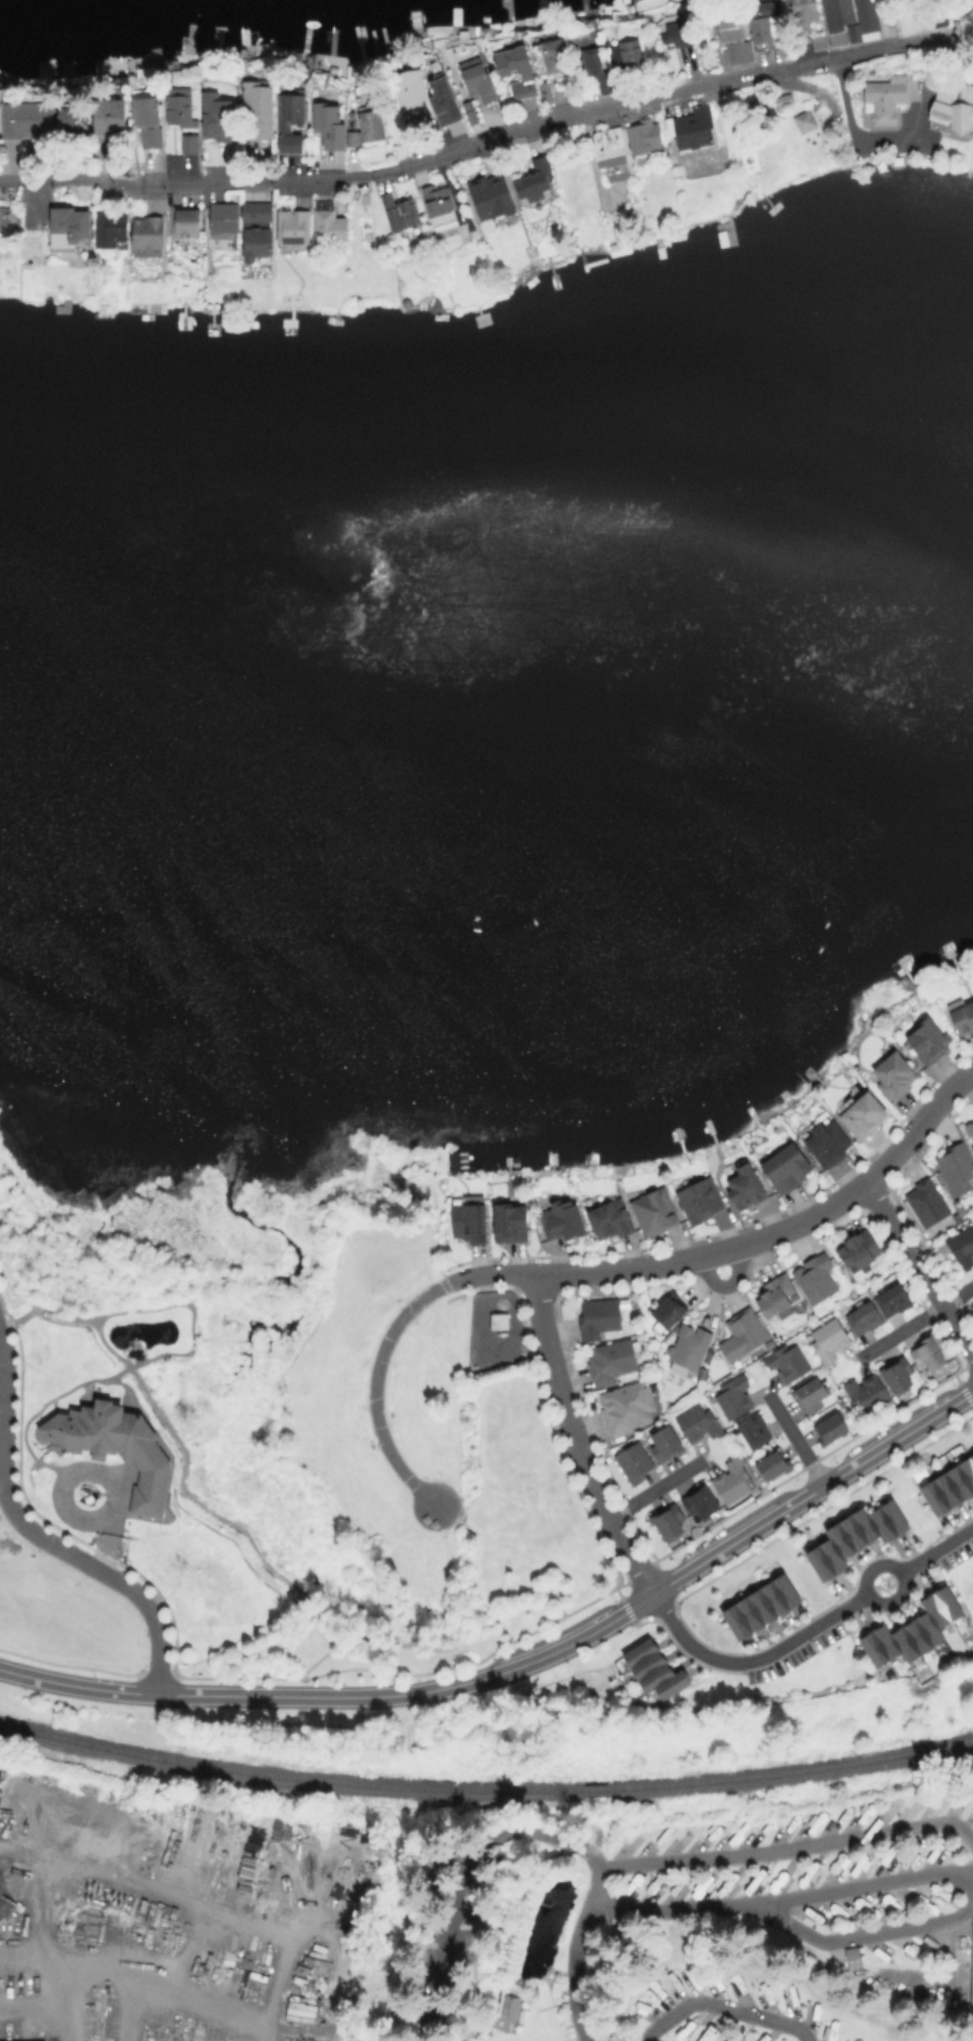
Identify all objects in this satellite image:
building: (803, 14)
building: (837, 14)
building: (869, 16)
building: (760, 21)
building: (676, 33)
building: (730, 33)
building: (853, 34)
building: (631, 53)
building: (553, 56)
building: (597, 71)
building: (512, 73)
building: (475, 83)
building: (178, 90)
building: (408, 90)
building: (546, 94)
building: (886, 94)
building: (198, 101)
building: (441, 102)
building: (180, 111)
building: (256, 111)
building: (216, 117)
building: (952, 117)
building: (805, 120)
road: (841, 122)
building: (149, 123)
building: (28, 124)
building: (288, 124)
building: (109, 125)
building: (74, 126)
building: (326, 126)
building: (371, 126)
building: (693, 128)
building: (644, 137)
building: (353, 138)
road: (488, 138)
building: (188, 143)
building: (614, 165)
building: (534, 183)
building: (488, 197)
building: (437, 202)
building: (256, 212)
building: (399, 214)
building: (4, 217)
building: (224, 218)
building: (186, 221)
building: (70, 226)
building: (331, 227)
building: (294, 228)
building: (111, 232)
building: (147, 234)
building: (257, 246)
building: (963, 1013)
building: (928, 1037)
building: (894, 1071)
building: (863, 1112)
building: (970, 1125)
building: (828, 1140)
building: (786, 1166)
building: (956, 1166)
building: (746, 1184)
building: (700, 1199)
building: (926, 1200)
building: (656, 1210)
building: (609, 1217)
building: (469, 1218)
building: (509, 1218)
building: (561, 1218)
building: (962, 1244)
road: (740, 1245)
building: (858, 1248)
road: (920, 1267)
building: (816, 1276)
building: (778, 1295)
road: (958, 1296)
building: (893, 1298)
building: (972, 1303)
building: (668, 1308)
building: (863, 1315)
building: (599, 1316)
building: (499, 1320)
building: (742, 1331)
road: (902, 1331)
building: (827, 1337)
building: (769, 1343)
building: (690, 1345)
building: (926, 1347)
building: (611, 1360)
building: (59, 1362)
building: (786, 1362)
building: (895, 1370)
building: (702, 1372)
road: (376, 1389)
building: (864, 1390)
building: (808, 1391)
building: (732, 1393)
building: (627, 1405)
building: (696, 1420)
building: (828, 1424)
building: (752, 1425)
road: (577, 1439)
road: (795, 1439)
building: (662, 1440)
building: (117, 1445)
building: (631, 1458)
building: (771, 1462)
building: (730, 1479)
building: (949, 1486)
road: (658, 1489)
road: (813, 1493)
building: (697, 1498)
building: (664, 1519)
building: (853, 1537)
road: (42, 1538)
road: (937, 1551)
park: (472, 1555)
road: (901, 1574)
road: (511, 1599)
building: (759, 1608)
building: (911, 1631)
road: (350, 1636)
road: (752, 1660)
building: (653, 1671)
road: (337, 1697)
railway: (795, 1770)
railway: (285, 1777)
railway: (595, 1788)
building: (971, 1823)
road: (15, 1850)
road: (704, 1859)
road: (959, 1866)
road: (119, 1868)
road: (469, 1875)
building: (804, 1875)
building: (732, 1877)
building: (776, 1880)
building: (753, 1881)
building: (677, 1882)
building: (699, 1886)
building: (646, 1892)
road: (784, 1899)
road: (867, 1935)
road: (20, 1939)
building: (850, 1956)
building: (971, 1963)
road: (722, 2004)
road: (26, 2005)
building: (508, 2005)

